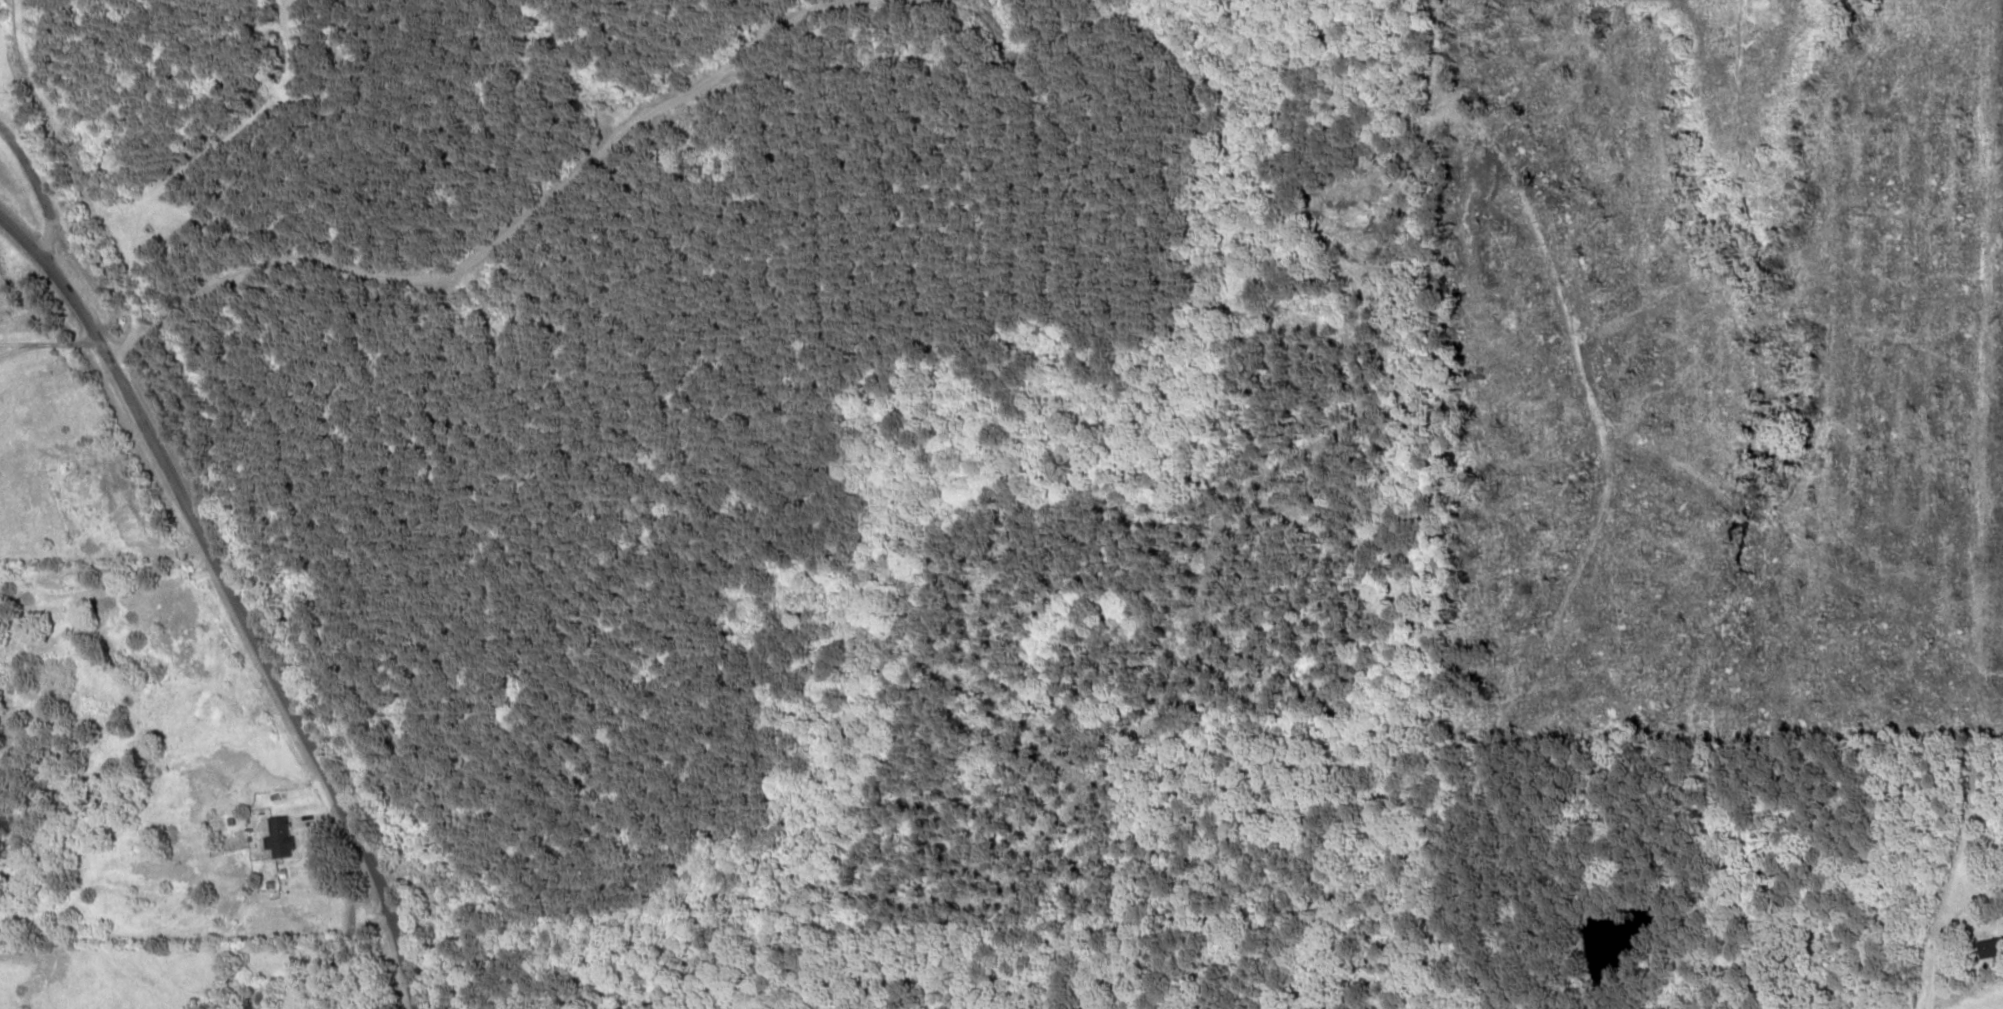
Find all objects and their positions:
building: (83, 479)
road: (236, 595)
building: (282, 837)

